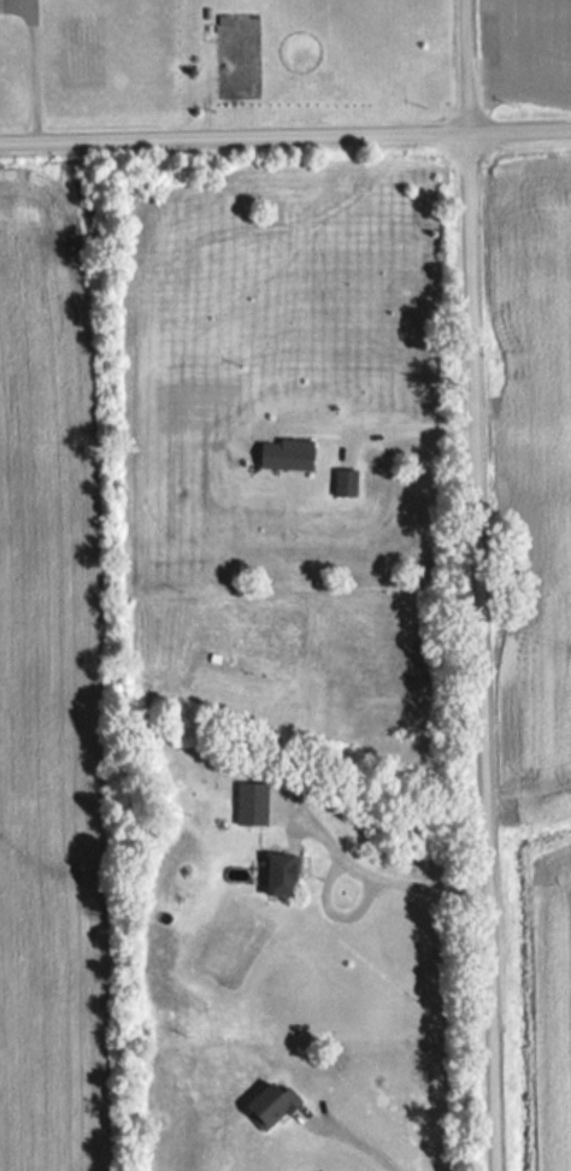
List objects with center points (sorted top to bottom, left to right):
road: (25, 71)
road: (284, 135)
road: (408, 422)
building: (290, 457)
building: (349, 484)
road: (478, 585)
building: (257, 806)
road: (412, 877)
building: (287, 878)
building: (276, 1106)
road: (360, 1141)

